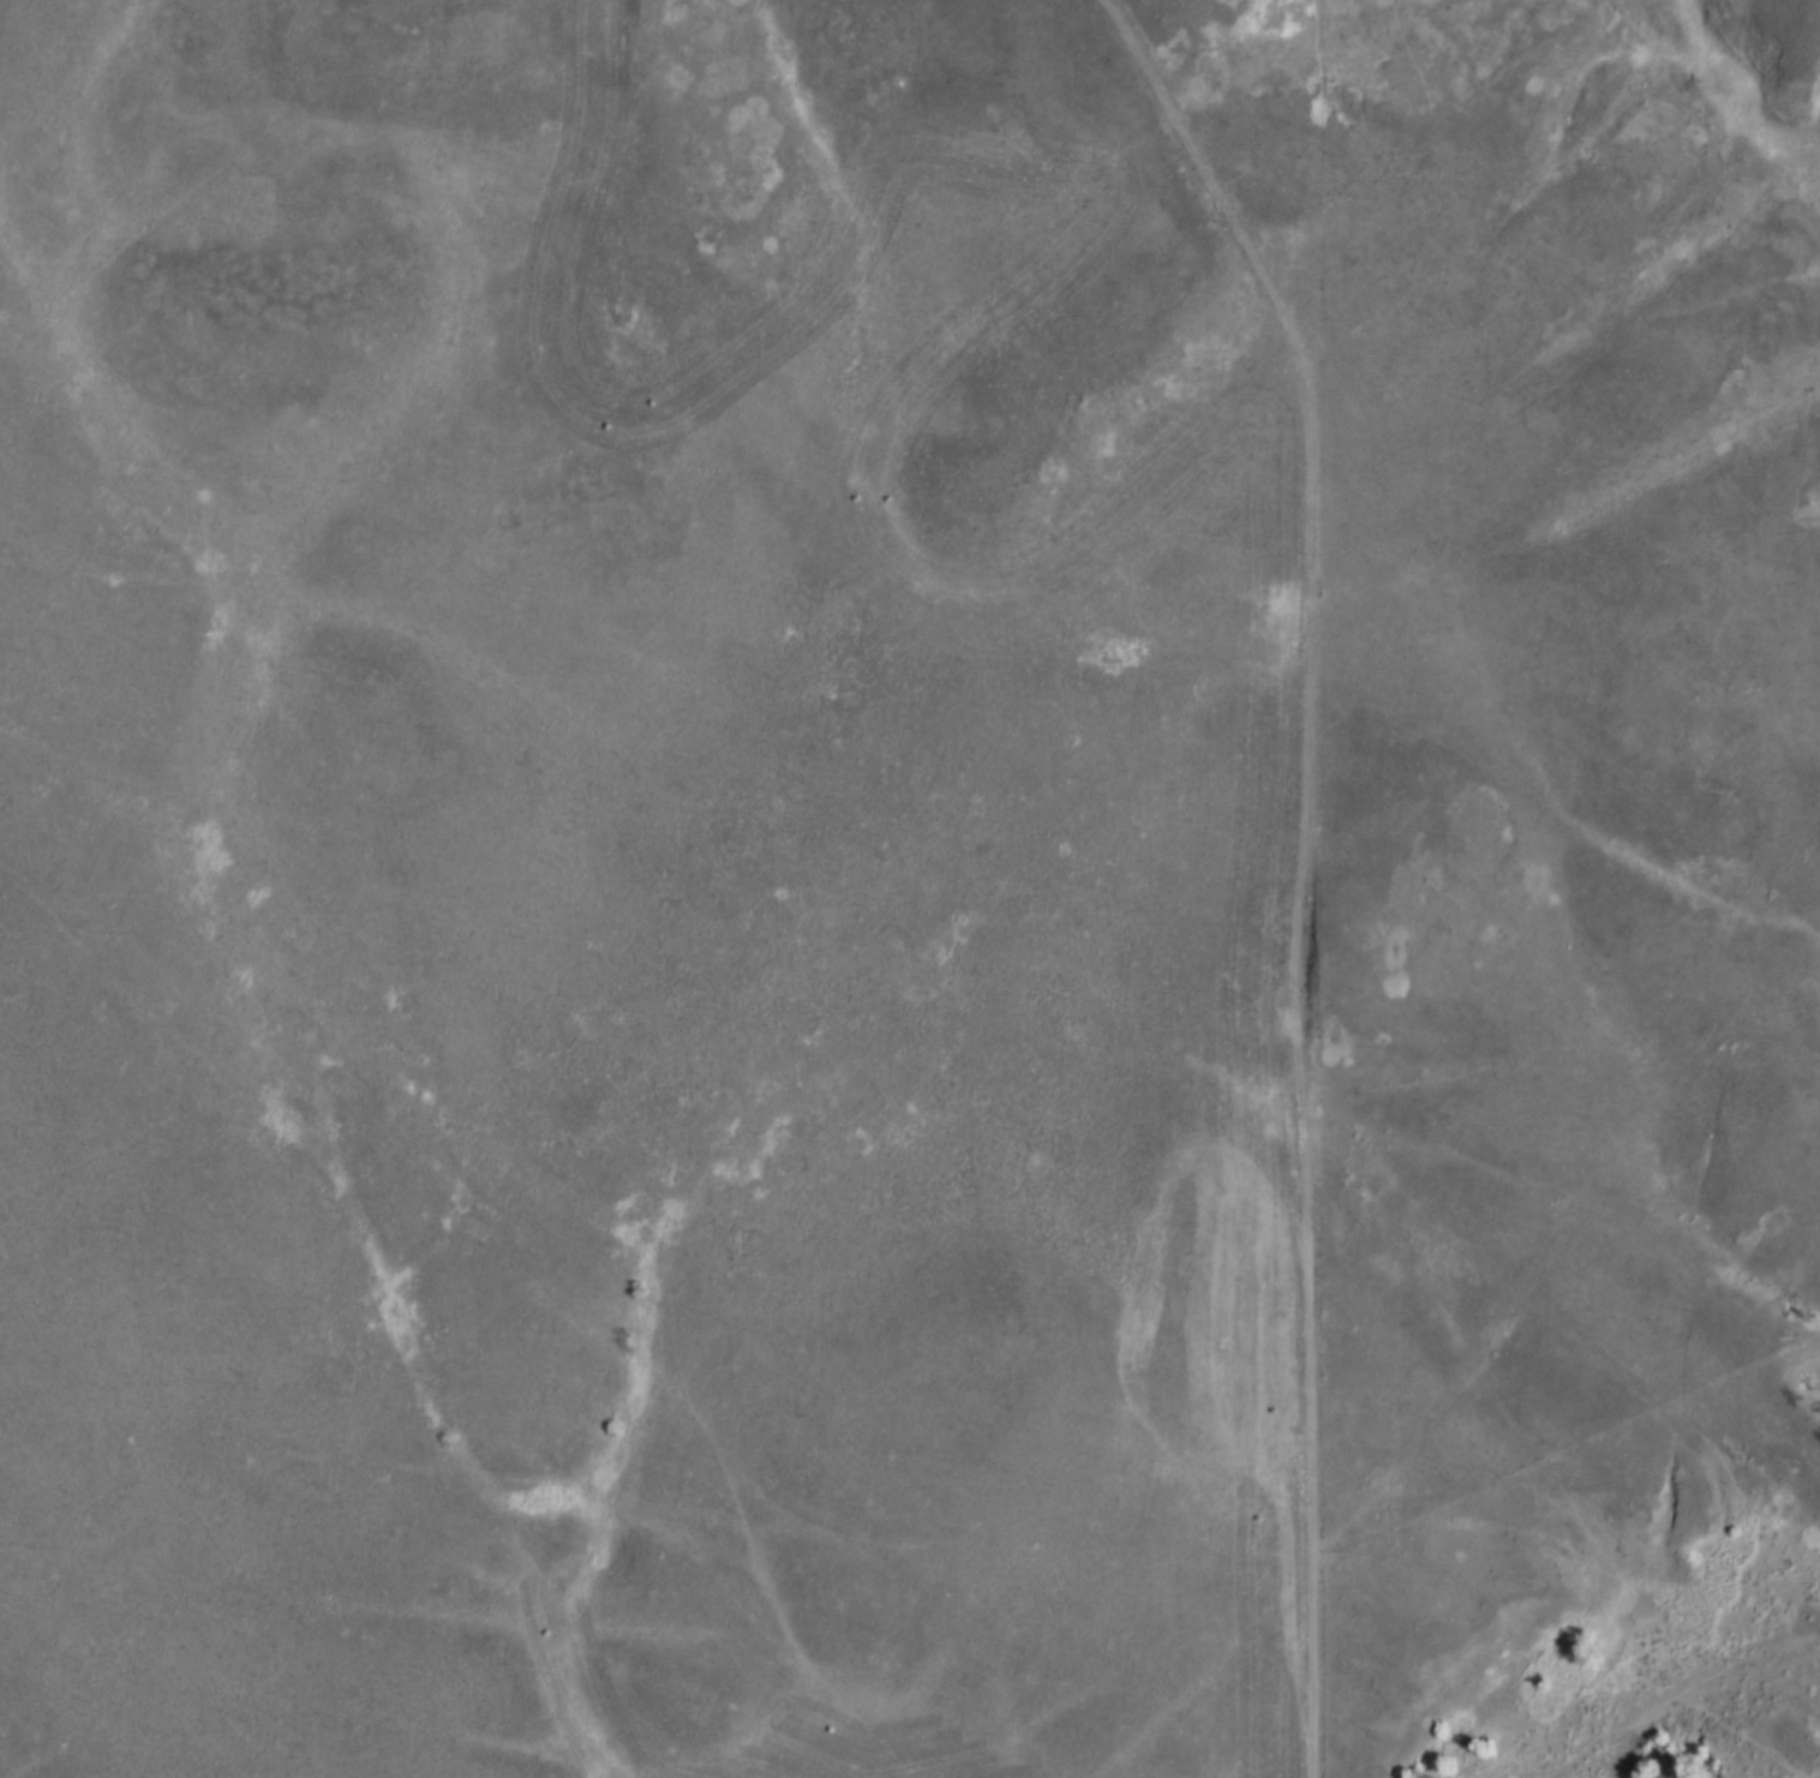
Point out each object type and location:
road: (1298, 861)

